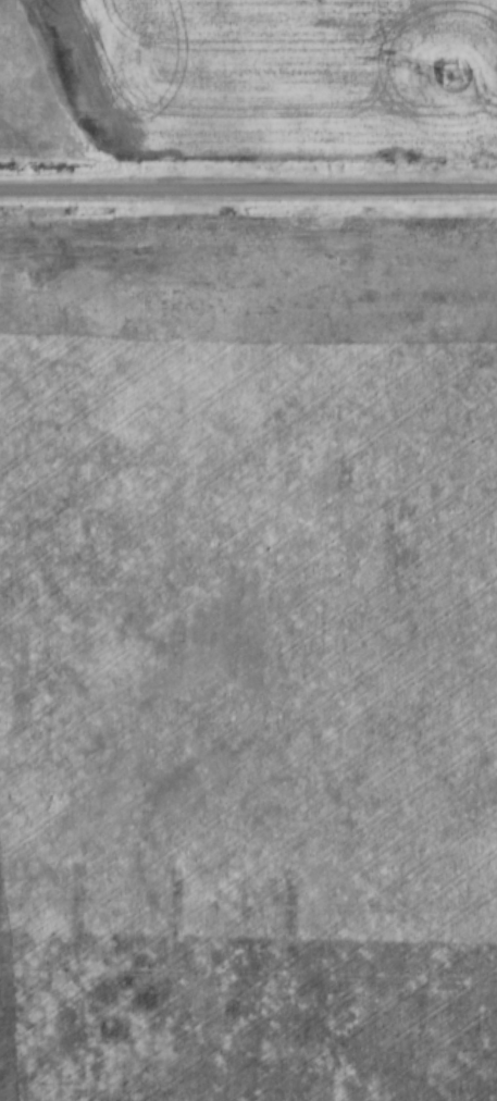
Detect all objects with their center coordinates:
power tower: (450, 77)
road: (248, 190)

